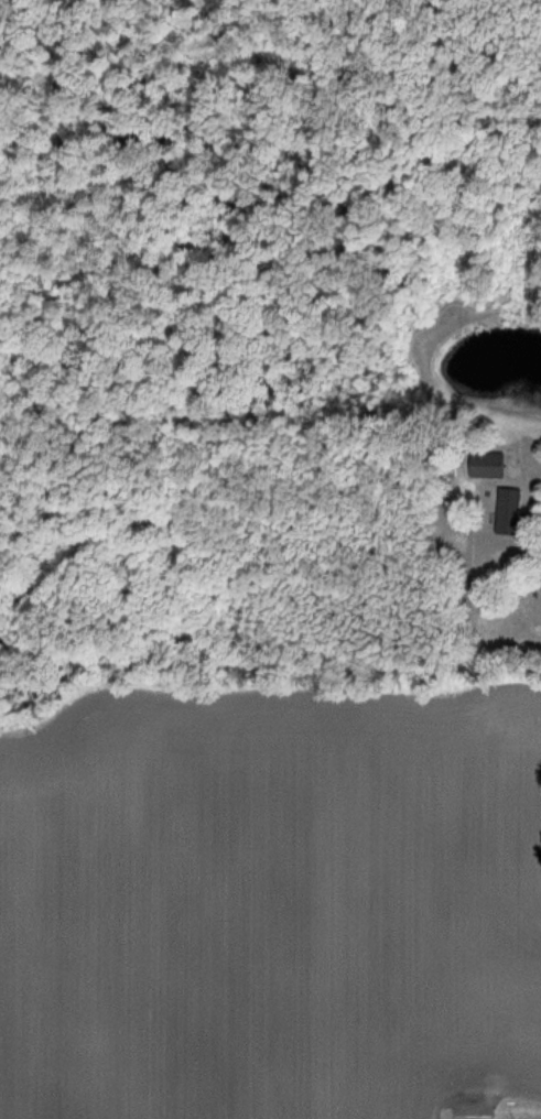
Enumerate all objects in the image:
building: (494, 466)
road: (532, 467)
building: (515, 512)

